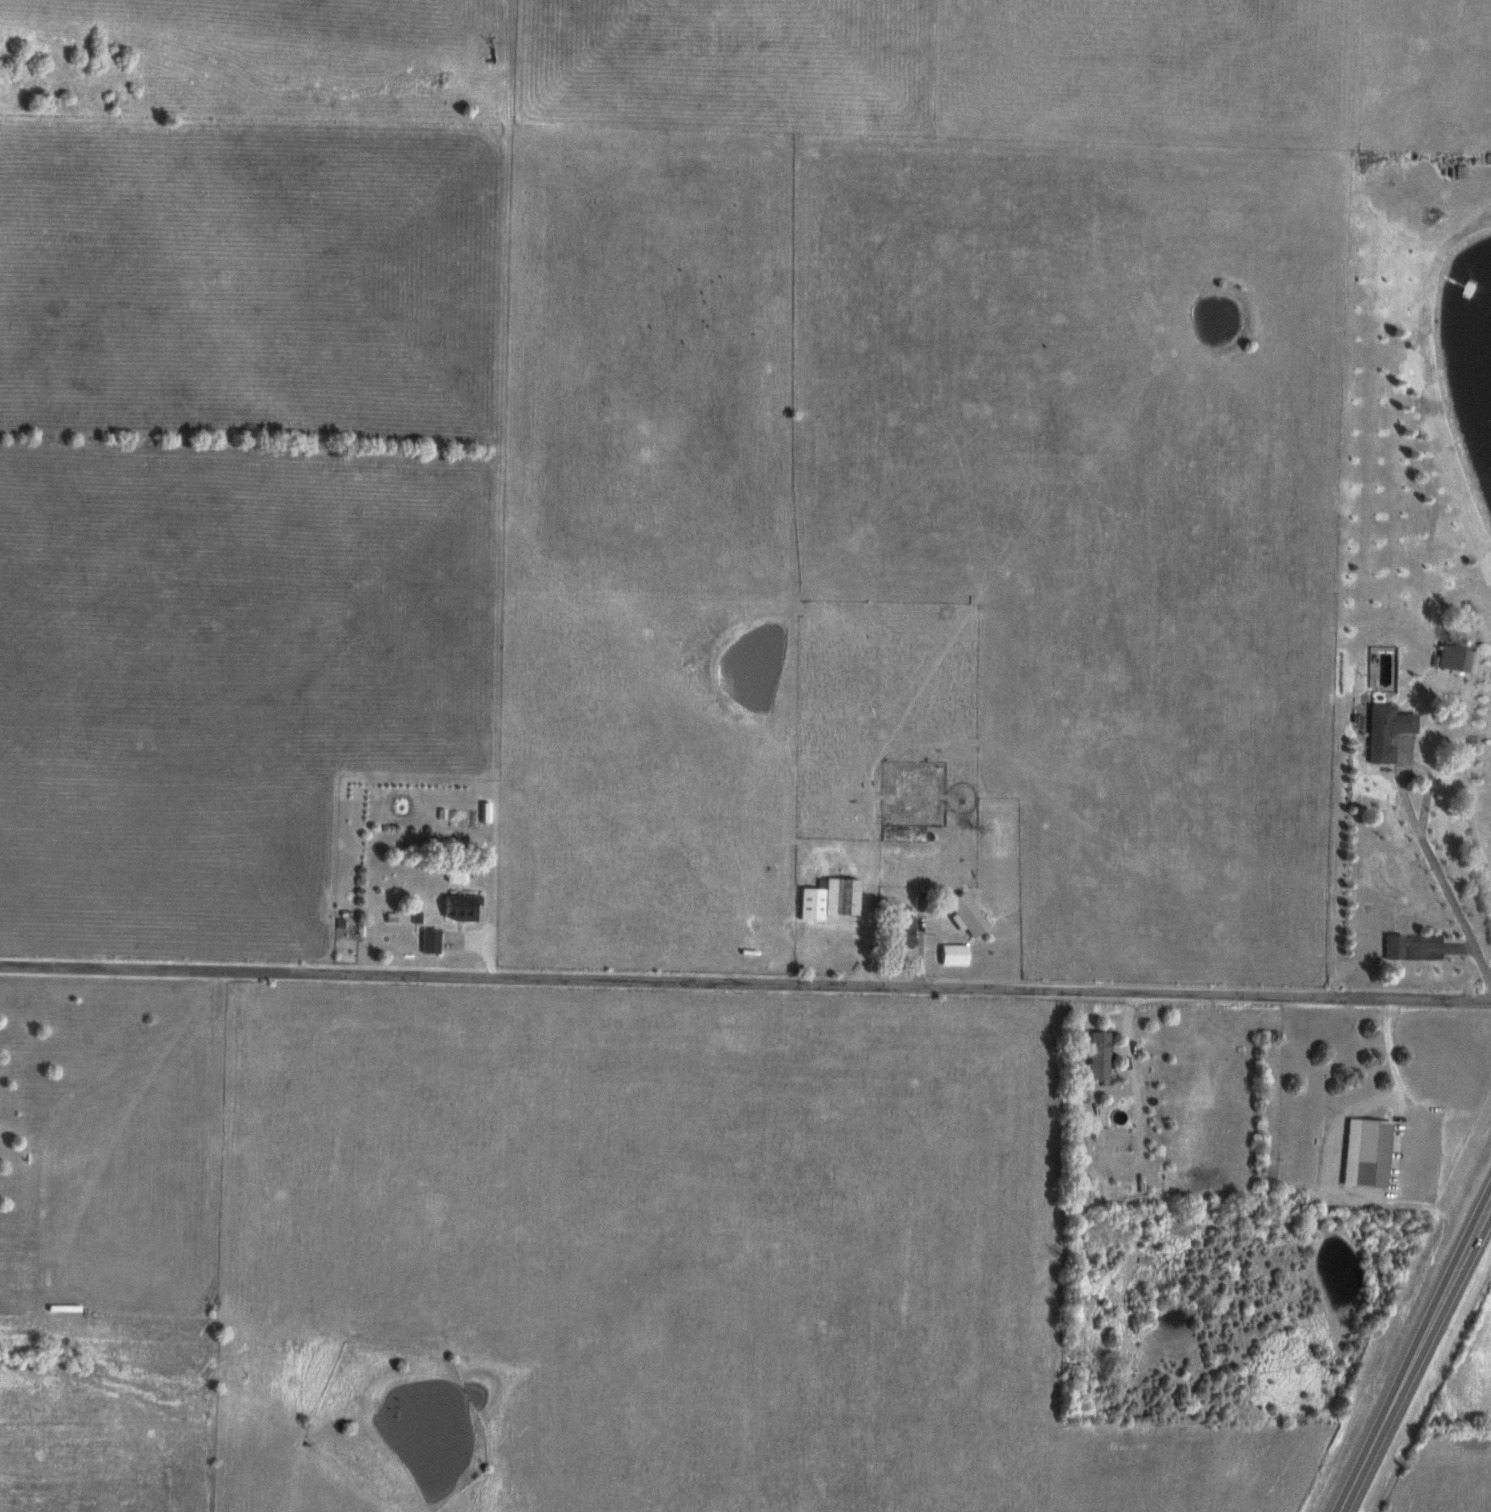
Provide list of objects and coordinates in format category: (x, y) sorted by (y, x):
building: (1460, 171)
building: (1458, 659)
building: (1385, 731)
road: (1445, 893)
building: (827, 899)
building: (458, 906)
building: (963, 914)
building: (901, 932)
building: (428, 941)
building: (1393, 946)
building: (951, 954)
road: (693, 984)
road: (1439, 1002)
road: (1389, 1050)
building: (1096, 1056)
road: (1135, 1111)
building: (1365, 1153)
road: (1387, 1186)
road: (1416, 1357)

